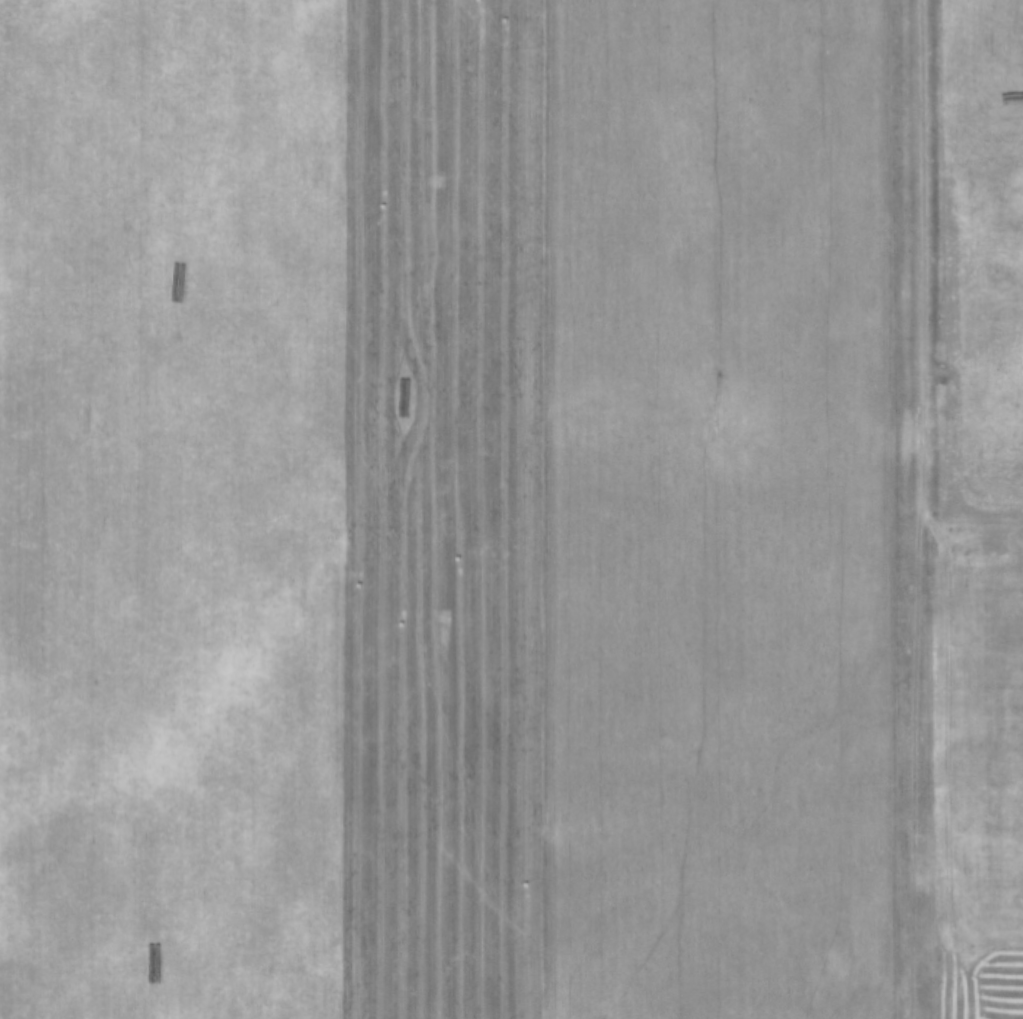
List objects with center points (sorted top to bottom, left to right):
road: (925, 509)

